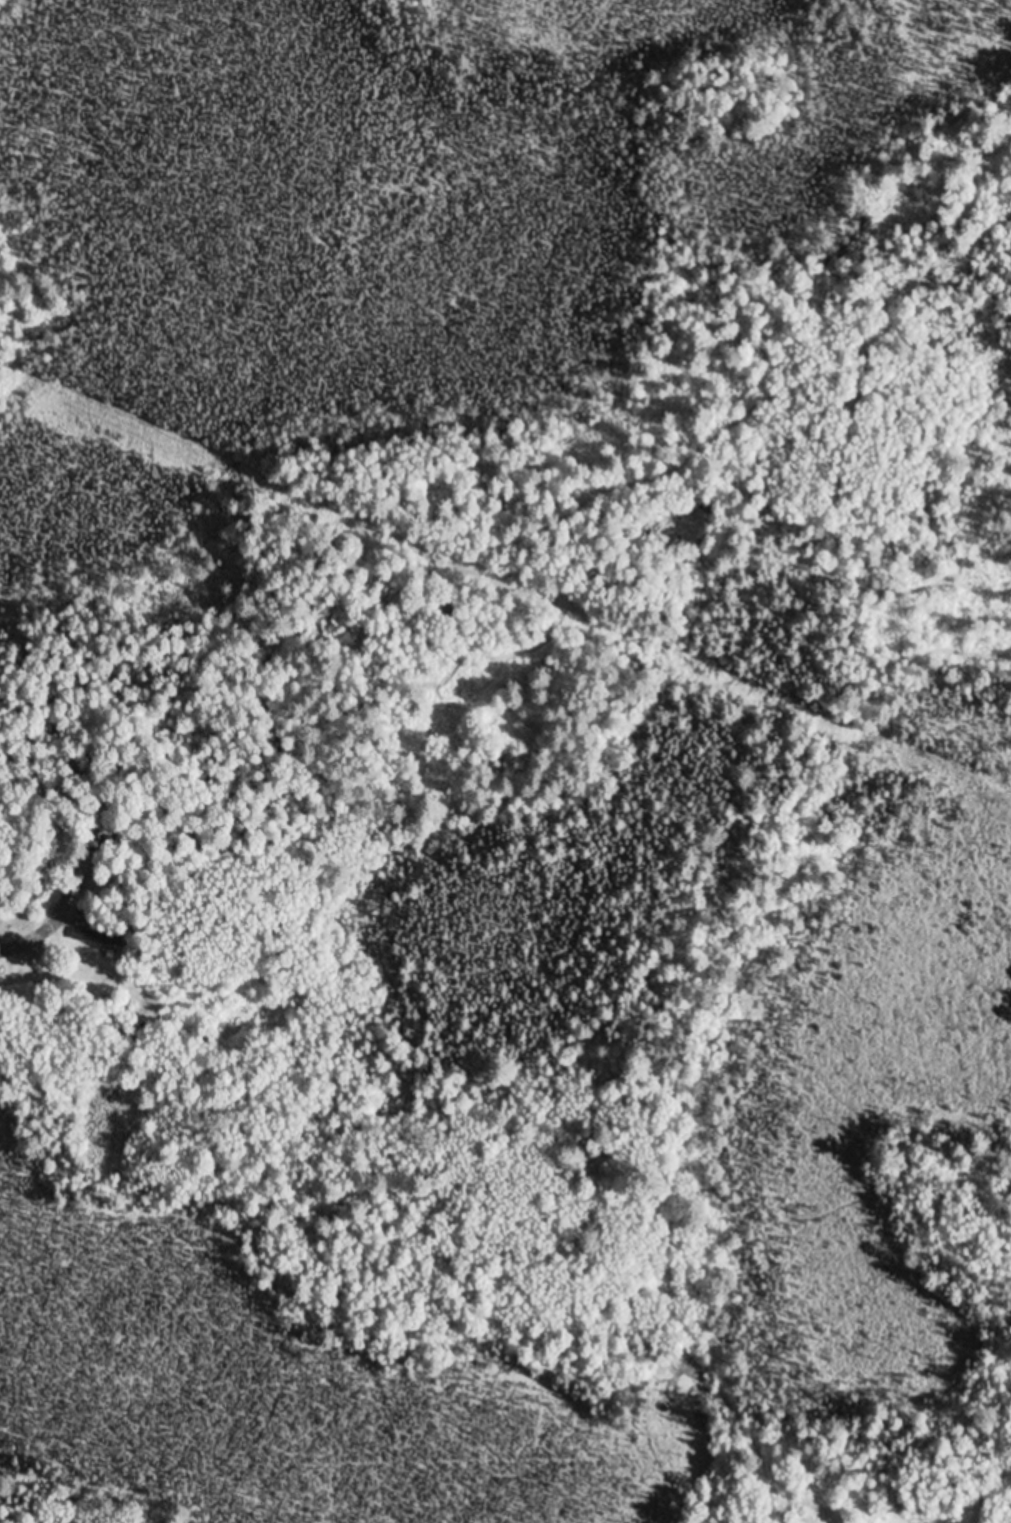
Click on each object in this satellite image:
building: (97, 938)
road: (35, 940)

